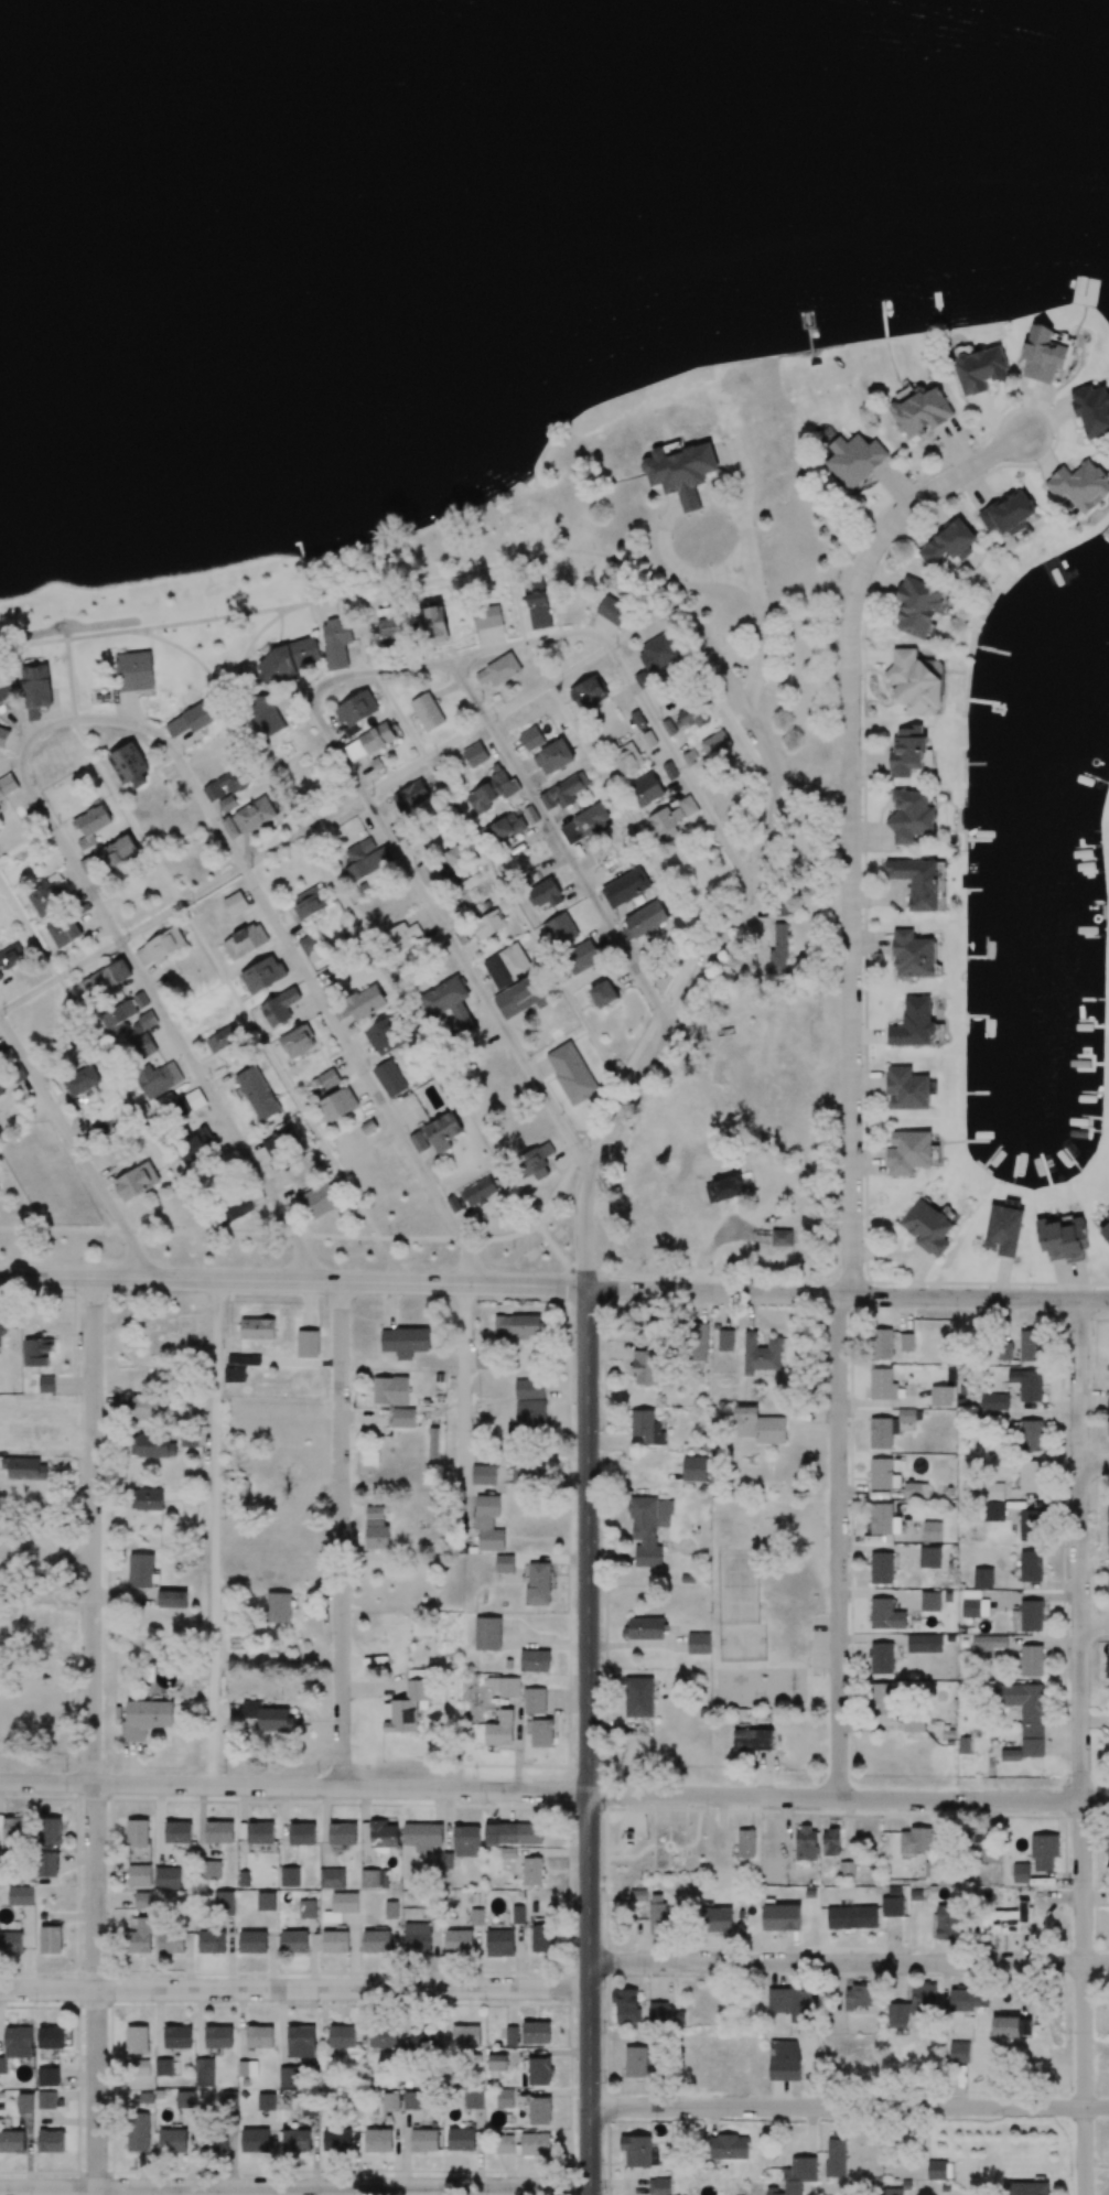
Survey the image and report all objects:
park: (554, 144)
building: (1043, 355)
building: (980, 370)
building: (1092, 410)
building: (920, 412)
building: (854, 459)
building: (681, 472)
building: (1081, 485)
building: (1009, 514)
building: (949, 544)
road: (754, 584)
building: (538, 604)
building: (918, 607)
building: (613, 610)
building: (487, 616)
building: (434, 621)
building: (390, 625)
building: (336, 643)
road: (709, 647)
building: (658, 653)
road: (454, 658)
building: (291, 659)
building: (133, 670)
building: (498, 670)
building: (914, 682)
building: (6, 686)
building: (35, 690)
building: (589, 692)
building: (355, 712)
building: (427, 712)
road: (80, 718)
building: (192, 719)
building: (686, 719)
building: (3, 736)
building: (531, 738)
road: (761, 738)
building: (369, 742)
building: (718, 743)
building: (906, 752)
road: (676, 754)
building: (475, 755)
building: (553, 757)
building: (627, 757)
building: (129, 765)
building: (7, 785)
building: (224, 785)
building: (646, 789)
building: (491, 792)
building: (564, 792)
building: (410, 796)
building: (227, 803)
road: (764, 814)
building: (911, 815)
building: (248, 818)
building: (671, 818)
building: (591, 824)
building: (508, 825)
building: (90, 826)
road: (851, 826)
road: (561, 841)
building: (119, 851)
building: (454, 857)
building: (366, 859)
building: (430, 874)
building: (916, 882)
building: (625, 887)
building: (546, 893)
building: (47, 896)
building: (235, 903)
building: (309, 903)
building: (646, 918)
building: (488, 924)
building: (560, 929)
building: (64, 932)
road: (446, 933)
building: (402, 936)
building: (246, 942)
building: (160, 947)
building: (311, 949)
building: (778, 949)
building: (912, 955)
building: (11, 956)
building: (581, 957)
building: (506, 965)
building: (262, 975)
road: (141, 976)
building: (106, 980)
building: (603, 993)
building: (523, 996)
road: (324, 1002)
building: (366, 1002)
building: (450, 1004)
building: (281, 1005)
road: (682, 1007)
building: (118, 1018)
building: (147, 1020)
building: (913, 1024)
building: (386, 1034)
building: (222, 1039)
building: (297, 1041)
building: (143, 1046)
building: (571, 1073)
building: (390, 1077)
building: (82, 1079)
building: (158, 1079)
building: (324, 1080)
building: (906, 1089)
building: (1, 1090)
building: (257, 1093)
building: (189, 1102)
building: (337, 1105)
building: (435, 1134)
building: (281, 1141)
building: (202, 1142)
road: (76, 1144)
building: (908, 1153)
building: (538, 1161)
building: (137, 1181)
building: (724, 1188)
building: (474, 1194)
building: (320, 1199)
building: (236, 1208)
building: (1107, 1217)
building: (927, 1227)
building: (1003, 1230)
building: (1105, 1231)
road: (295, 1234)
building: (1062, 1239)
road: (293, 1280)
road: (848, 1296)
building: (3, 1322)
building: (517, 1326)
building: (257, 1328)
building: (725, 1339)
building: (405, 1342)
building: (697, 1342)
building: (308, 1344)
building: (881, 1344)
building: (1031, 1345)
building: (36, 1352)
building: (761, 1354)
building: (484, 1358)
building: (244, 1359)
building: (644, 1366)
building: (234, 1374)
building: (45, 1384)
building: (1027, 1384)
building: (882, 1385)
road: (462, 1388)
building: (390, 1390)
building: (940, 1396)
building: (993, 1401)
building: (530, 1405)
building: (147, 1408)
building: (909, 1414)
building: (402, 1418)
building: (1108, 1419)
building: (758, 1425)
building: (646, 1427)
building: (881, 1433)
building: (1029, 1434)
building: (187, 1439)
building: (433, 1442)
building: (152, 1445)
road: (1095, 1466)
building: (25, 1468)
building: (483, 1474)
building: (883, 1474)
building: (528, 1475)
building: (1030, 1476)
building: (916, 1489)
building: (150, 1499)
building: (993, 1502)
building: (1108, 1511)
building: (883, 1519)
building: (488, 1522)
building: (1030, 1524)
building: (376, 1528)
building: (648, 1528)
building: (932, 1531)
road: (215, 1532)
road: (342, 1535)
building: (1108, 1537)
road: (839, 1546)
building: (929, 1557)
building: (504, 1563)
building: (1031, 1565)
building: (881, 1568)
building: (141, 1571)
building: (982, 1578)
park: (740, 1586)
park: (771, 1604)
road: (1095, 1626)
park: (744, 1643)
road: (93, 1736)
road: (589, 1741)
road: (1081, 1746)
road: (553, 1793)
road: (849, 1962)
road: (295, 1989)
road: (849, 2107)
building: (172, 2140)
building: (214, 2140)
building: (54, 2141)
road: (295, 2188)

